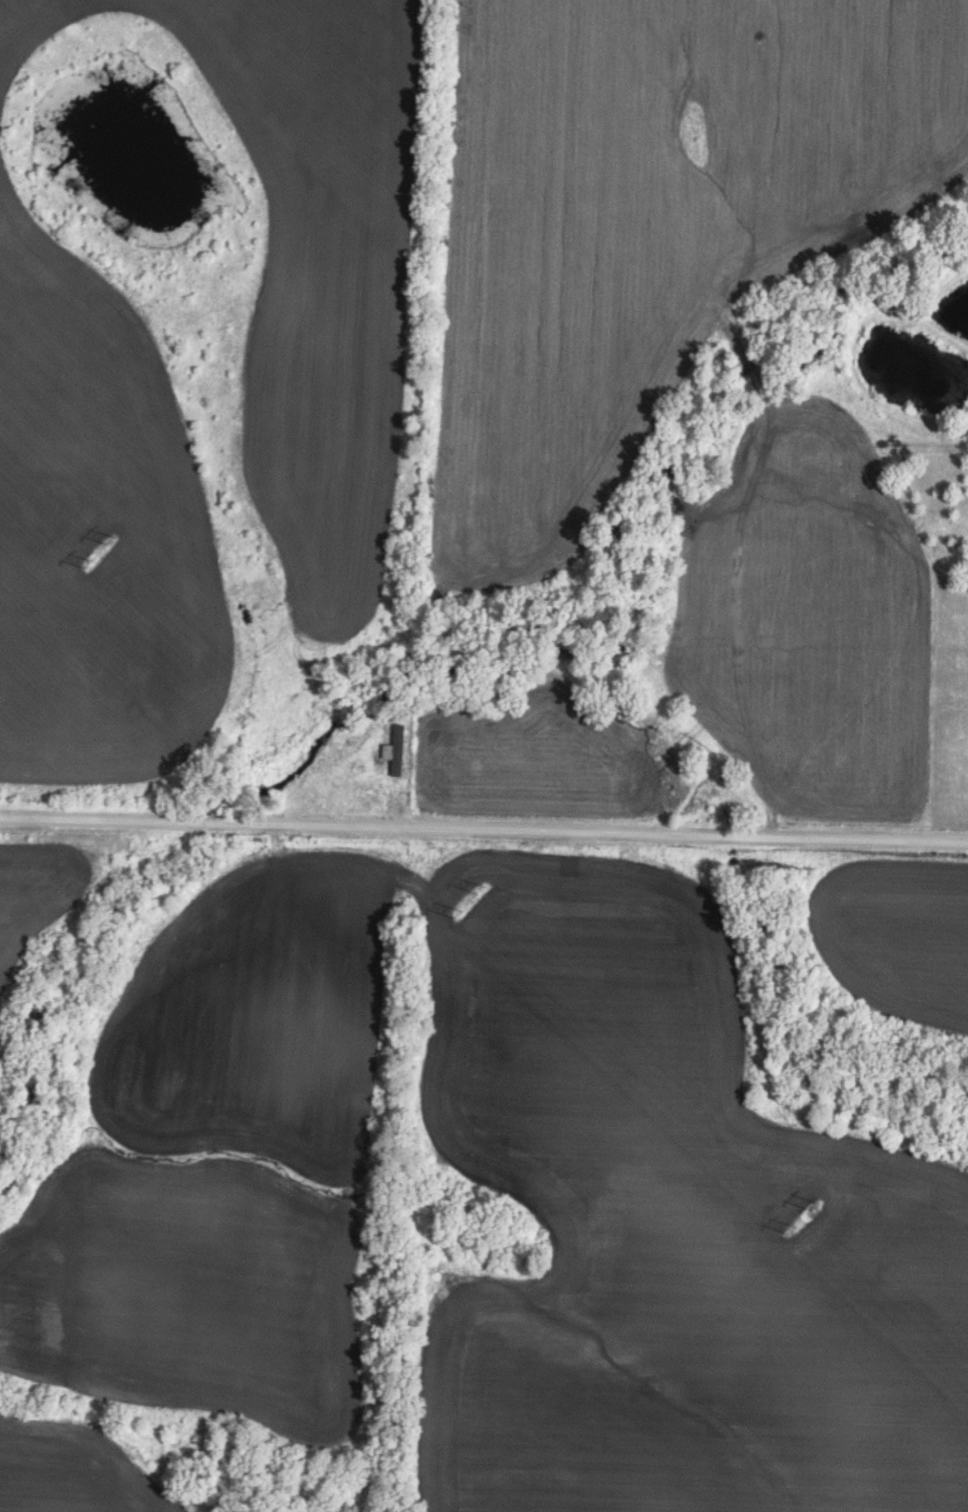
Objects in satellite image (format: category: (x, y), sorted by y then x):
power tower: (117, 530)
power tower: (93, 558)
building: (396, 750)
road: (484, 829)
power tower: (478, 887)
power tower: (457, 912)
power tower: (811, 1204)
power tower: (792, 1227)

